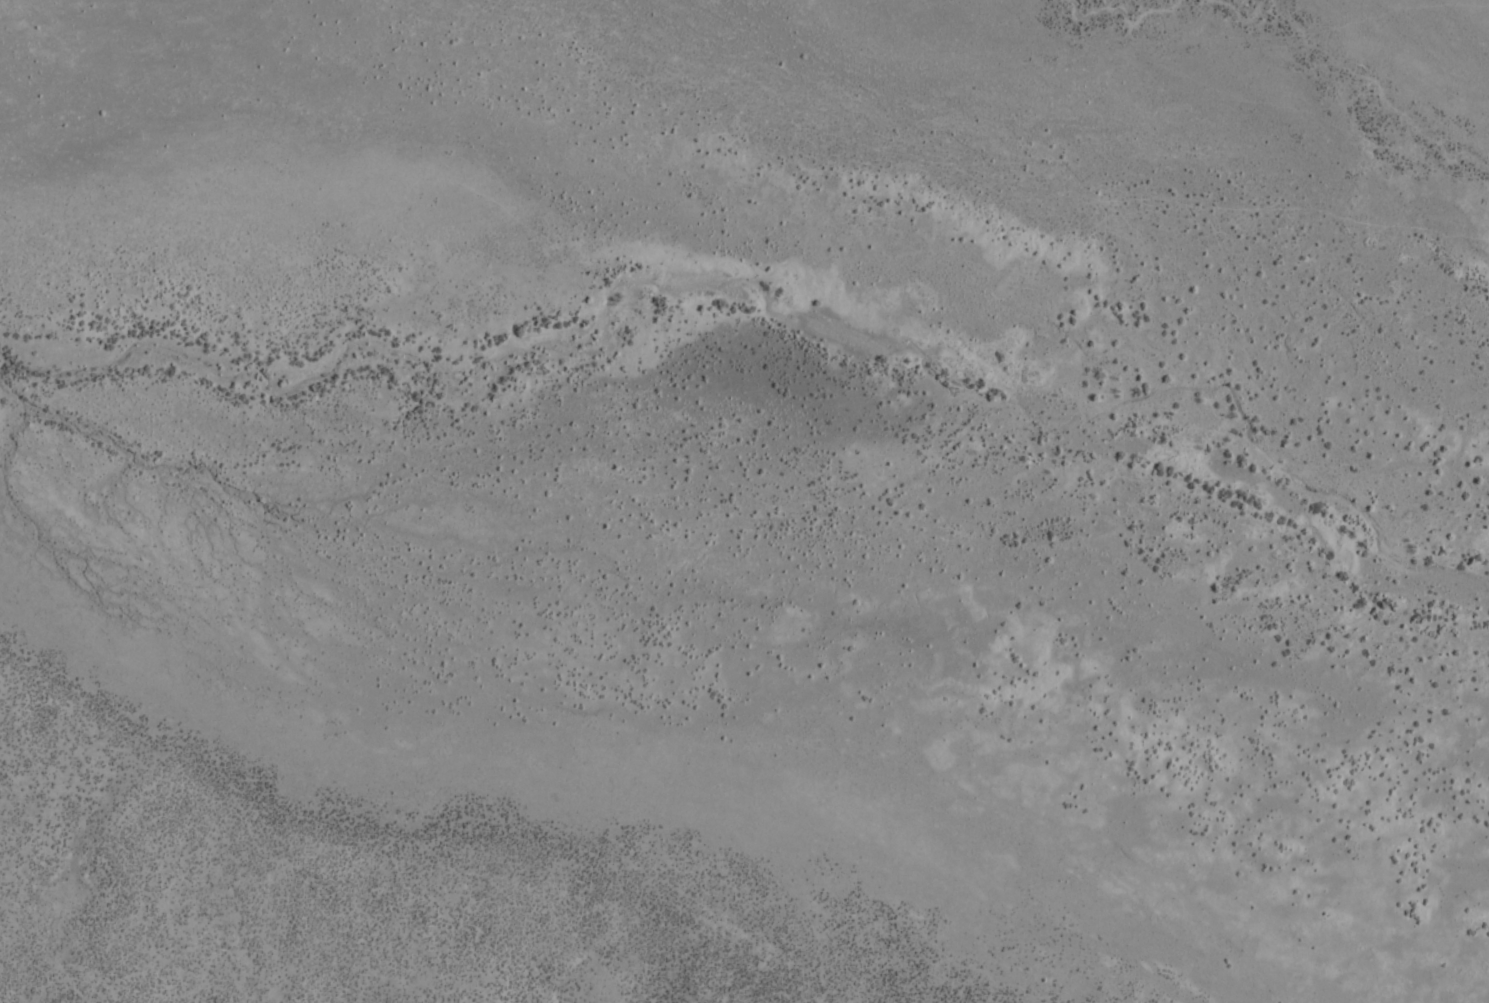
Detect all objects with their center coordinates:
river: (758, 346)

